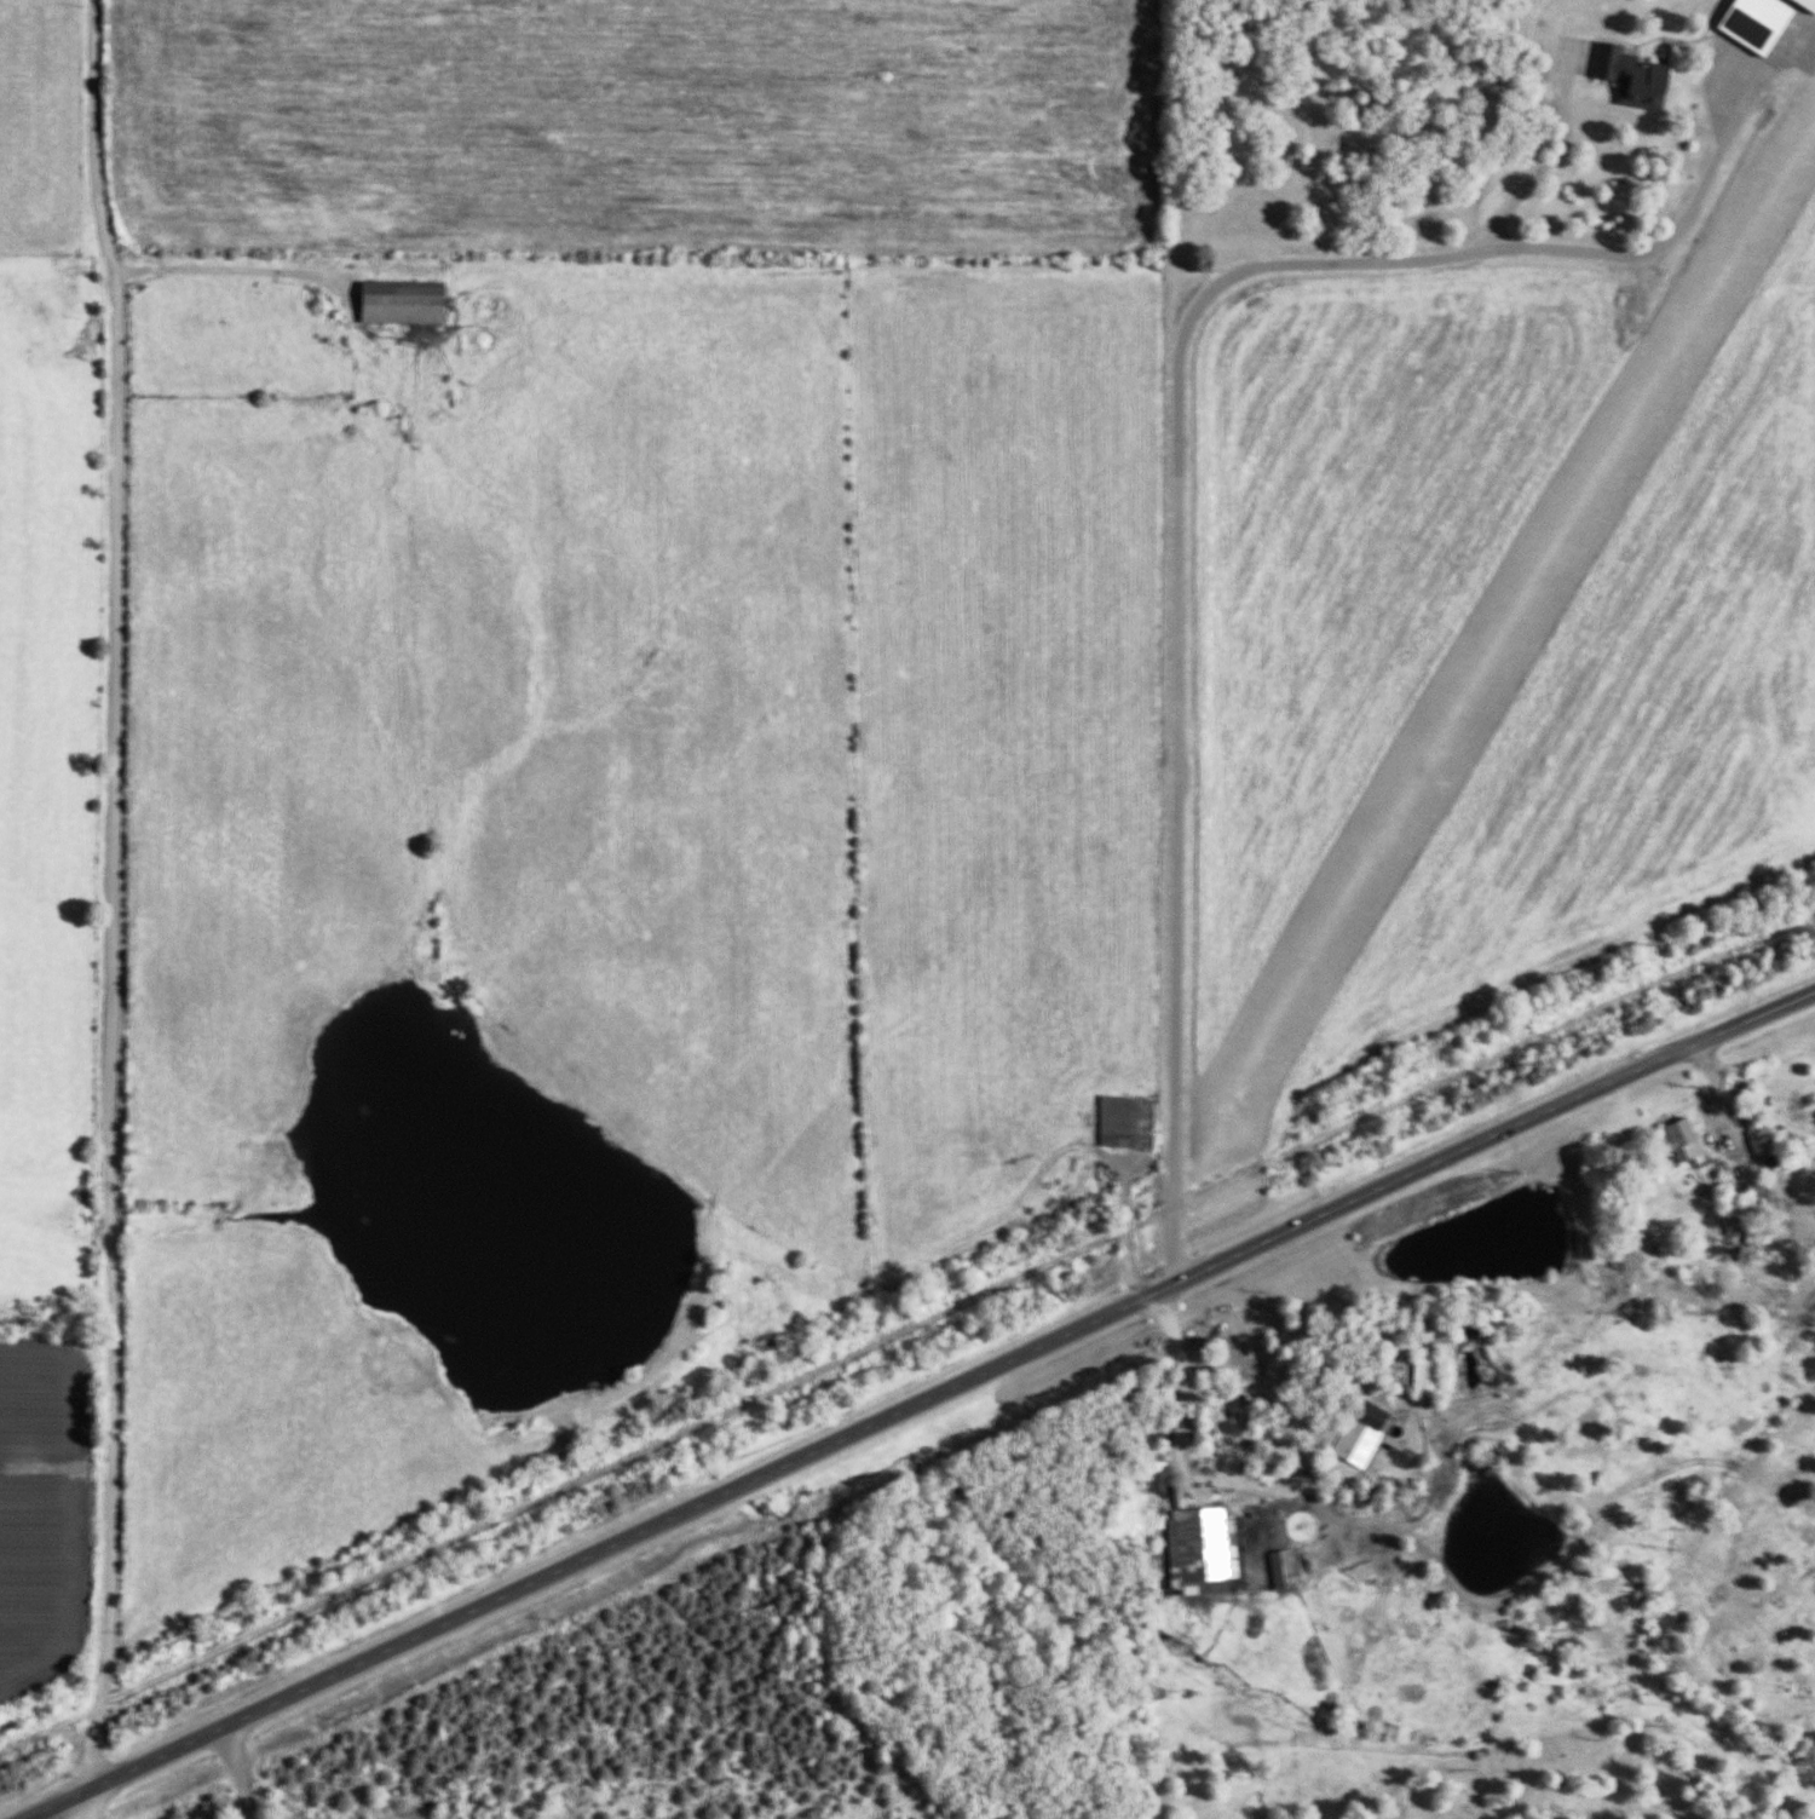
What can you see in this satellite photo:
building: (1750, 23)
building: (1627, 77)
road: (1650, 252)
road: (223, 269)
building: (398, 305)
road: (1171, 547)
road: (109, 894)
building: (1120, 1122)
building: (1677, 1138)
building: (1751, 1190)
building: (1727, 1209)
railway: (907, 1319)
building: (1423, 1372)
road: (921, 1408)
building: (1152, 1408)
building: (1356, 1434)
building: (1194, 1550)
building: (1277, 1570)
road: (87, 1804)

